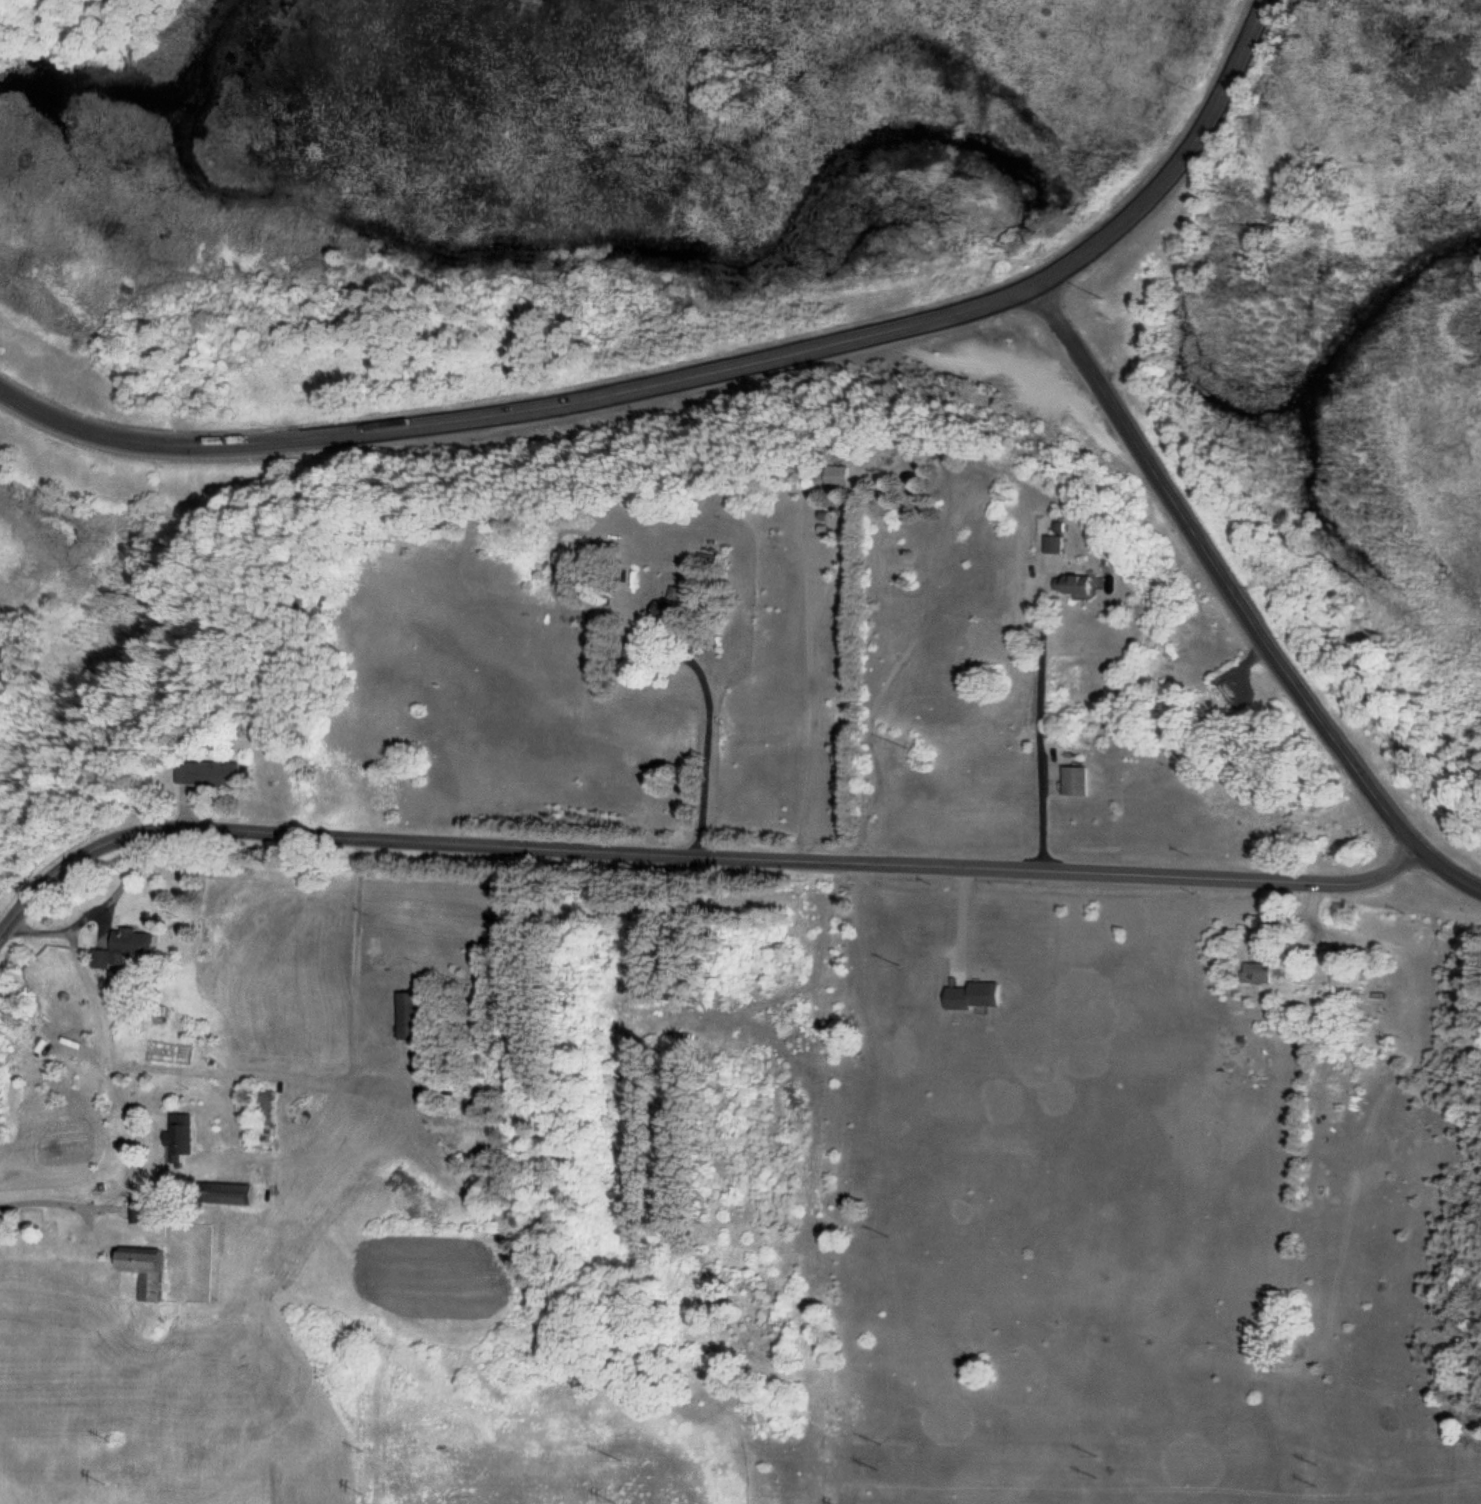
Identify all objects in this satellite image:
road: (1174, 163)
road: (892, 329)
road: (372, 437)
building: (831, 476)
building: (1050, 545)
road: (1219, 568)
building: (1077, 584)
building: (671, 604)
road: (1039, 716)
building: (206, 774)
building: (1075, 781)
road: (696, 856)
road: (1446, 873)
building: (127, 949)
building: (1256, 973)
building: (1345, 977)
building: (408, 1017)
building: (264, 1119)
building: (179, 1139)
building: (224, 1194)
building: (138, 1212)
building: (142, 1271)

